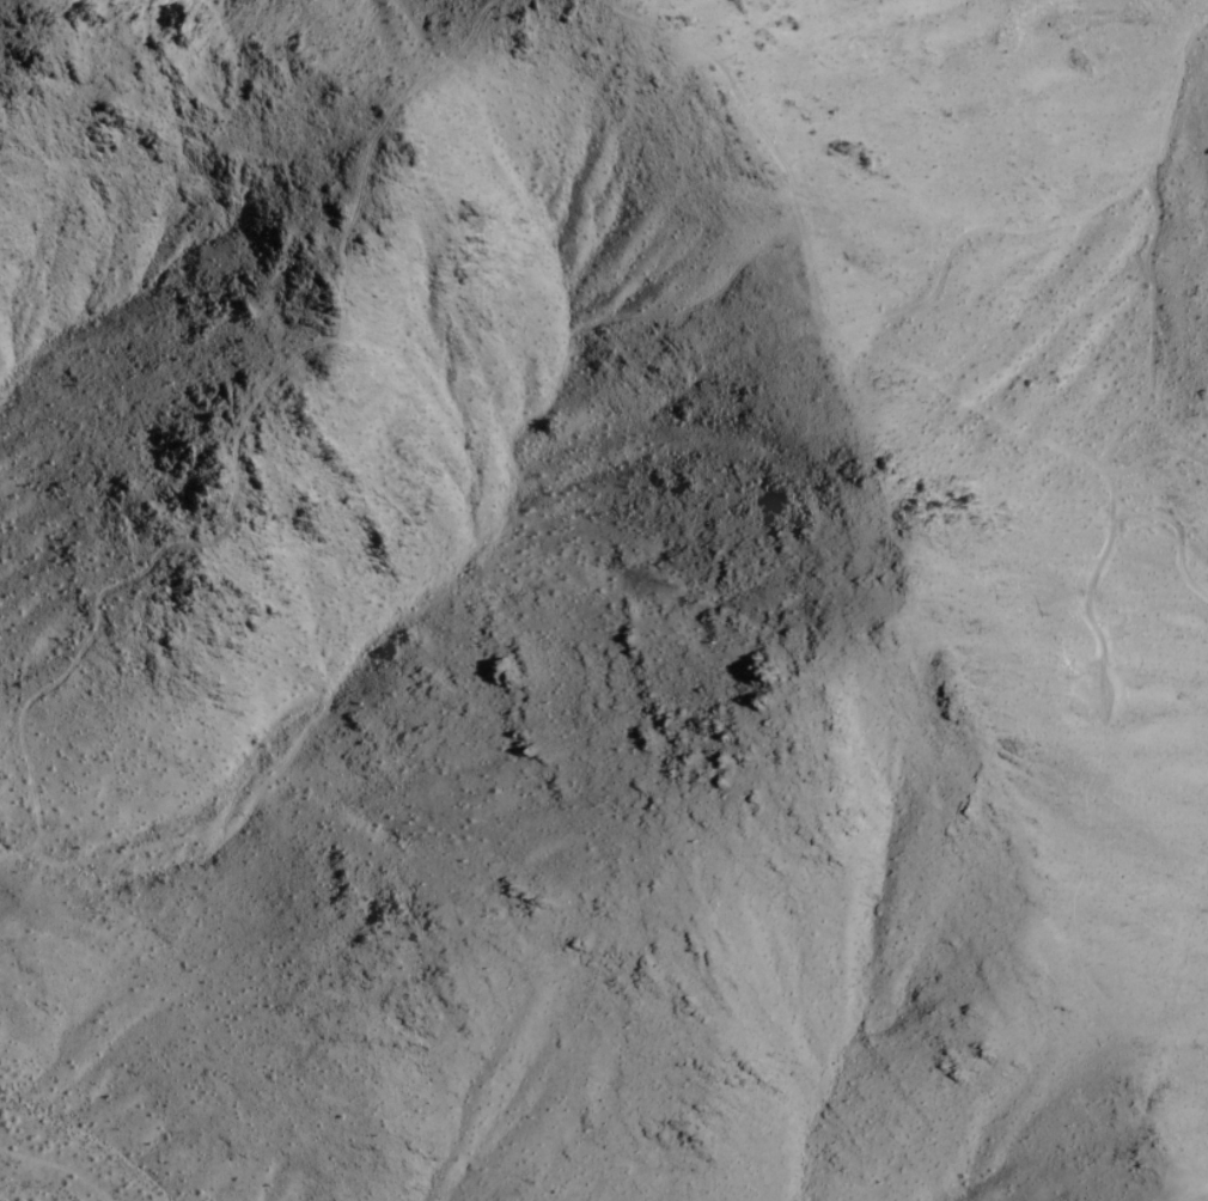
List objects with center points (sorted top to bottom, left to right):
road: (1197, 1195)

